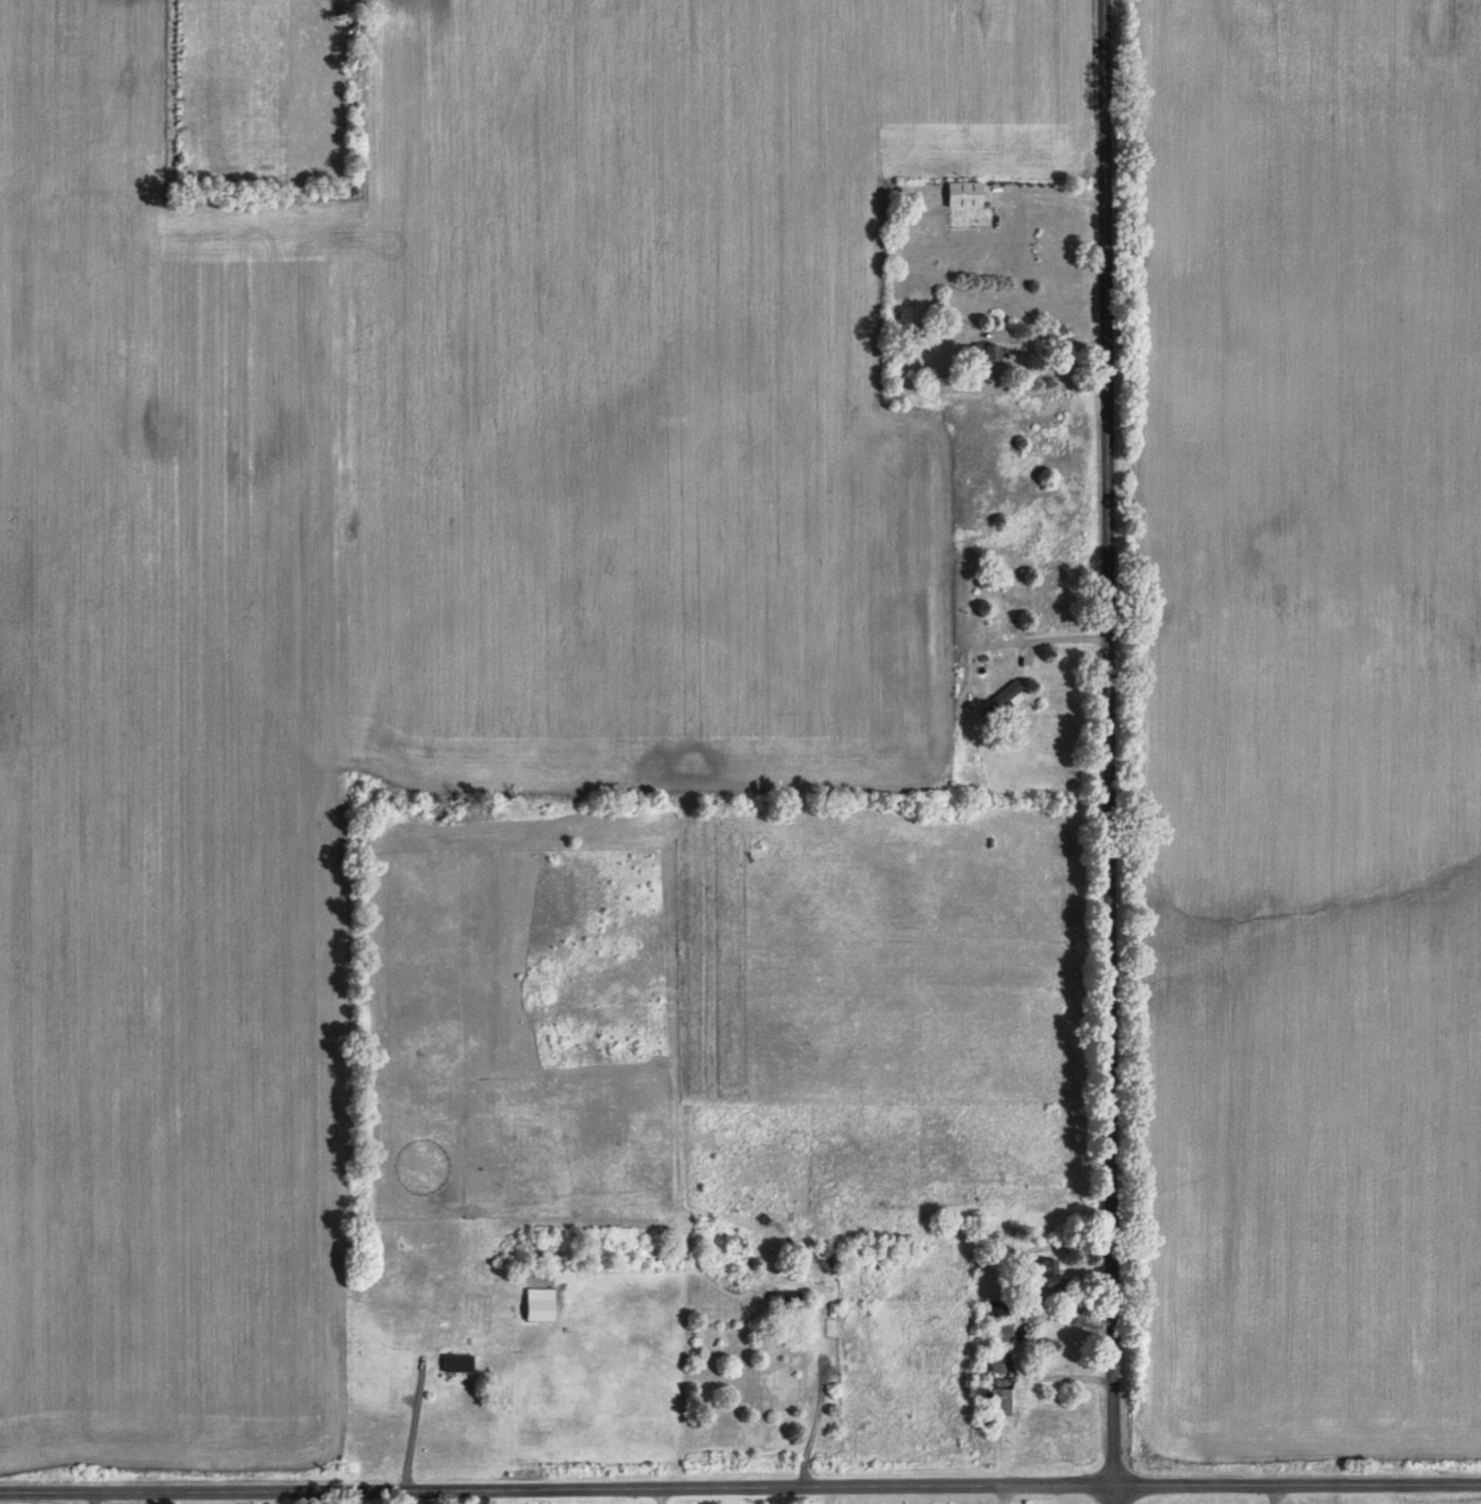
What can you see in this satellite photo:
building: (965, 196)
road: (1043, 338)
building: (987, 354)
road: (1052, 636)
building: (1003, 699)
road: (1111, 751)
building: (1053, 1277)
building: (786, 1302)
building: (1005, 1332)
building: (458, 1364)
building: (1005, 1374)
road: (815, 1421)
road: (410, 1433)
road: (740, 1493)
road: (1262, 1497)

